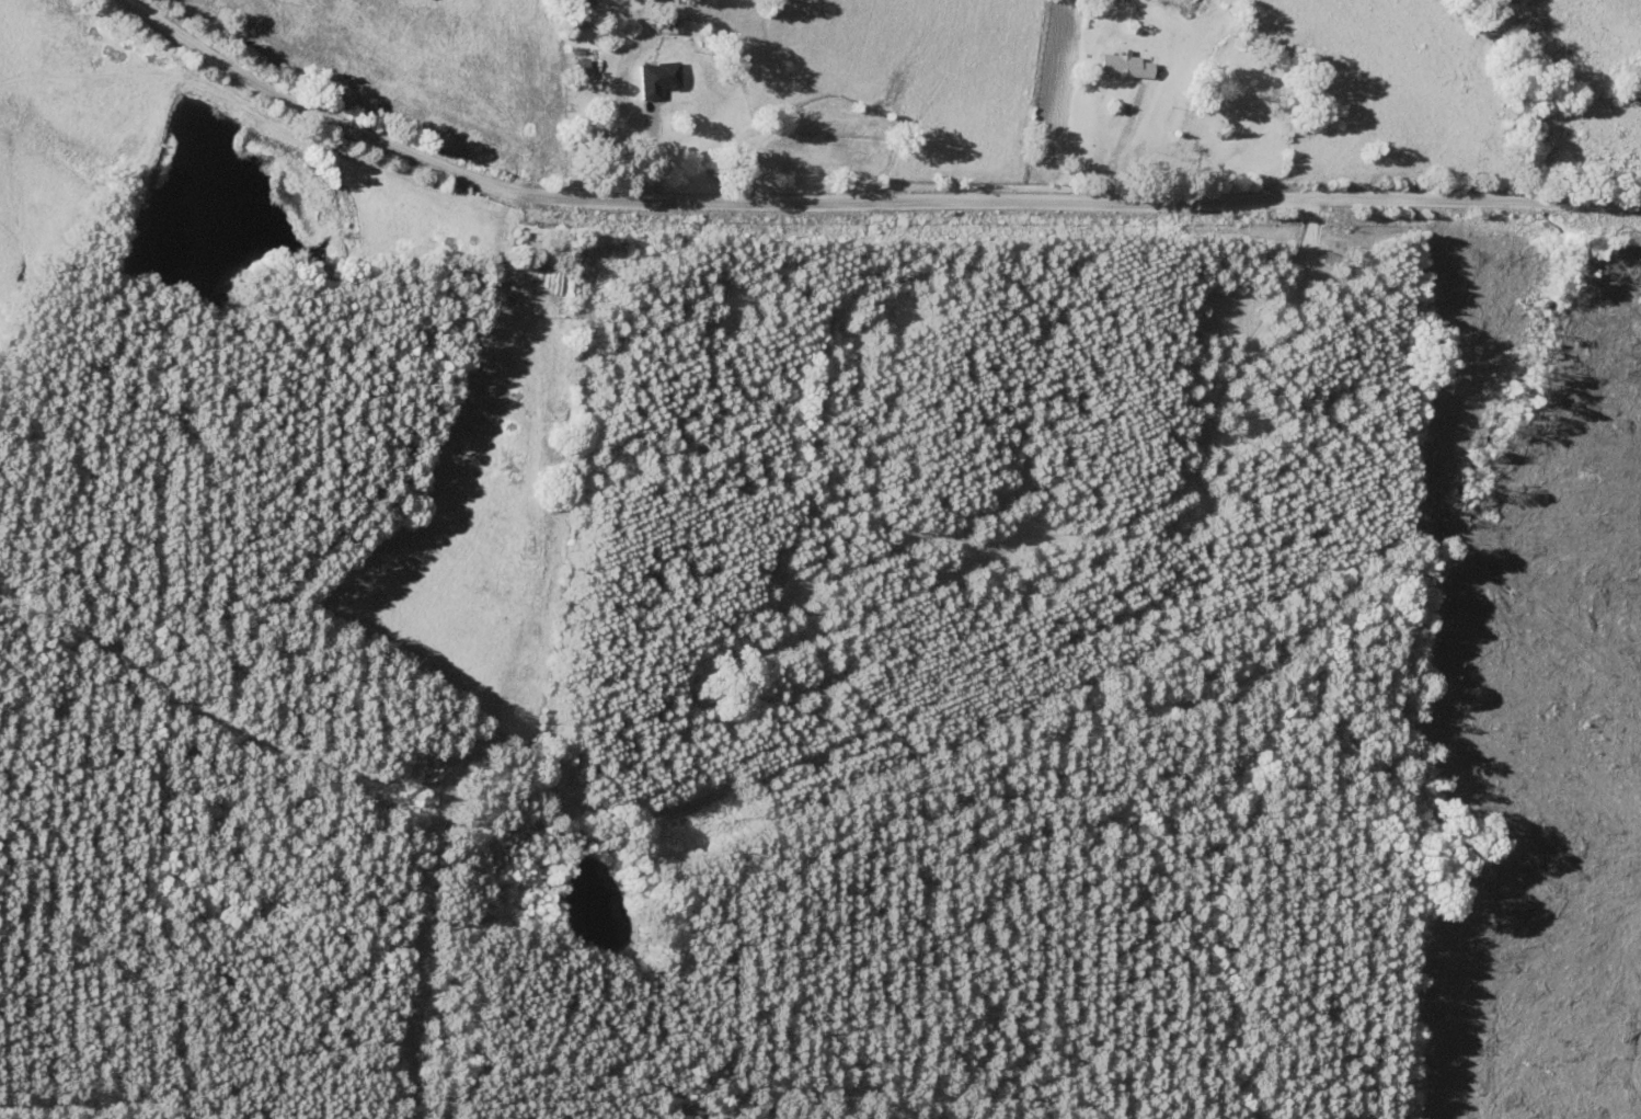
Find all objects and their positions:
building: (578, 64)
building: (1124, 66)
building: (663, 76)
road: (854, 201)

